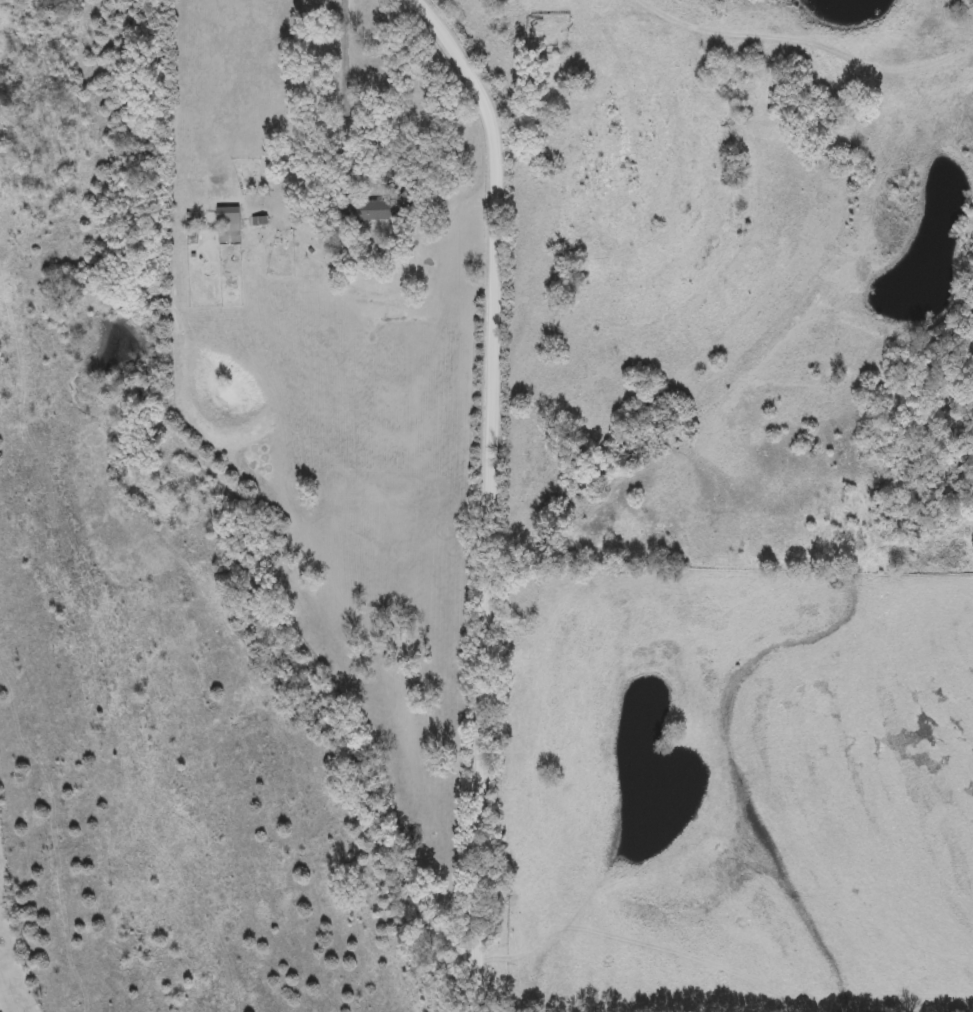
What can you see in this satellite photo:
road: (346, 55)
road: (363, 176)
building: (370, 211)
building: (228, 217)
road: (489, 494)

